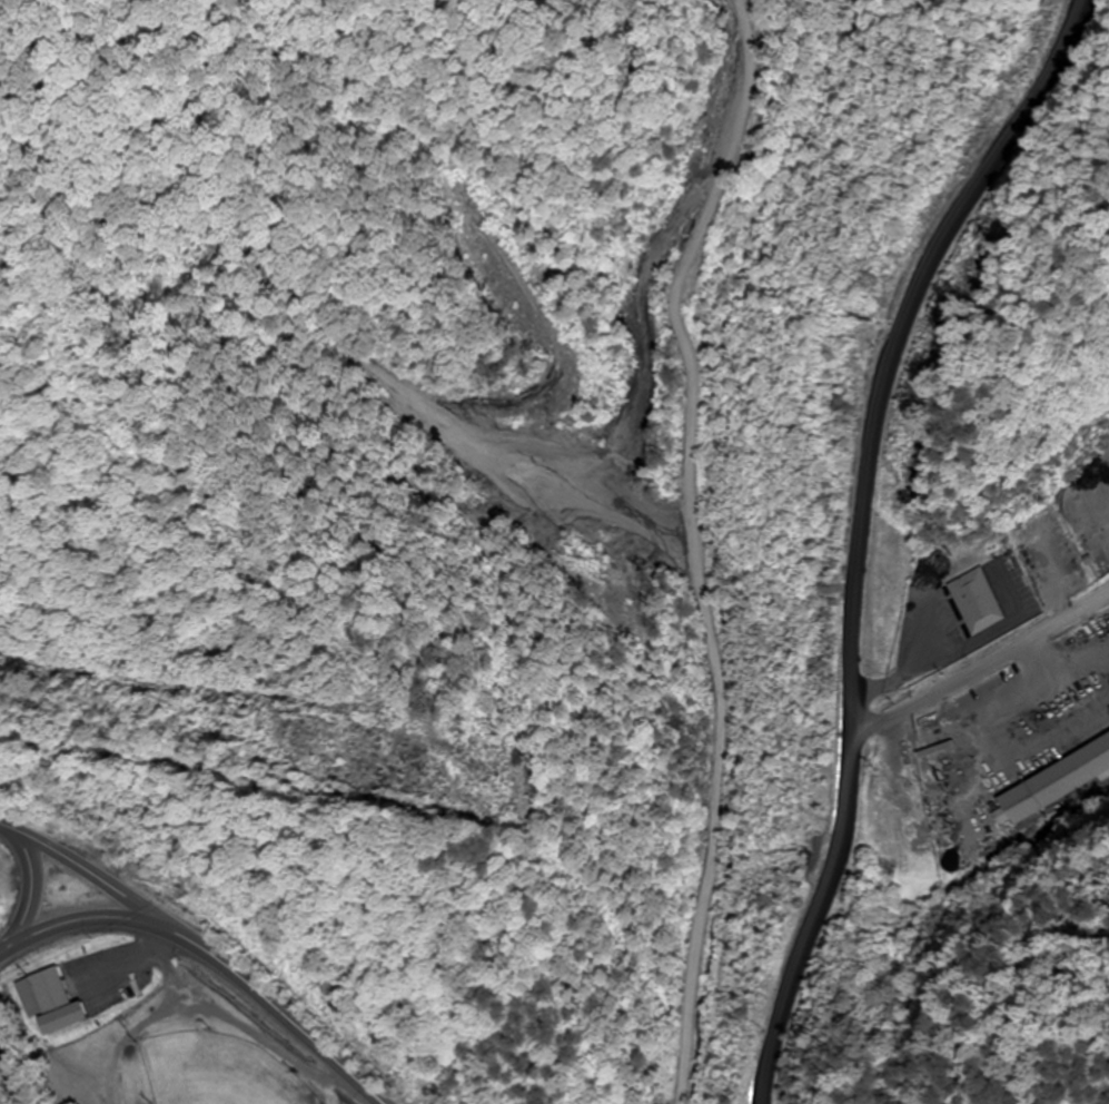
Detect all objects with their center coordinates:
road: (894, 406)
building: (981, 601)
building: (1058, 782)
building: (911, 791)
road: (861, 835)
road: (90, 874)
road: (31, 886)
road: (86, 916)
building: (60, 1003)
road: (283, 1015)
river: (18, 1069)
park: (218, 1071)

